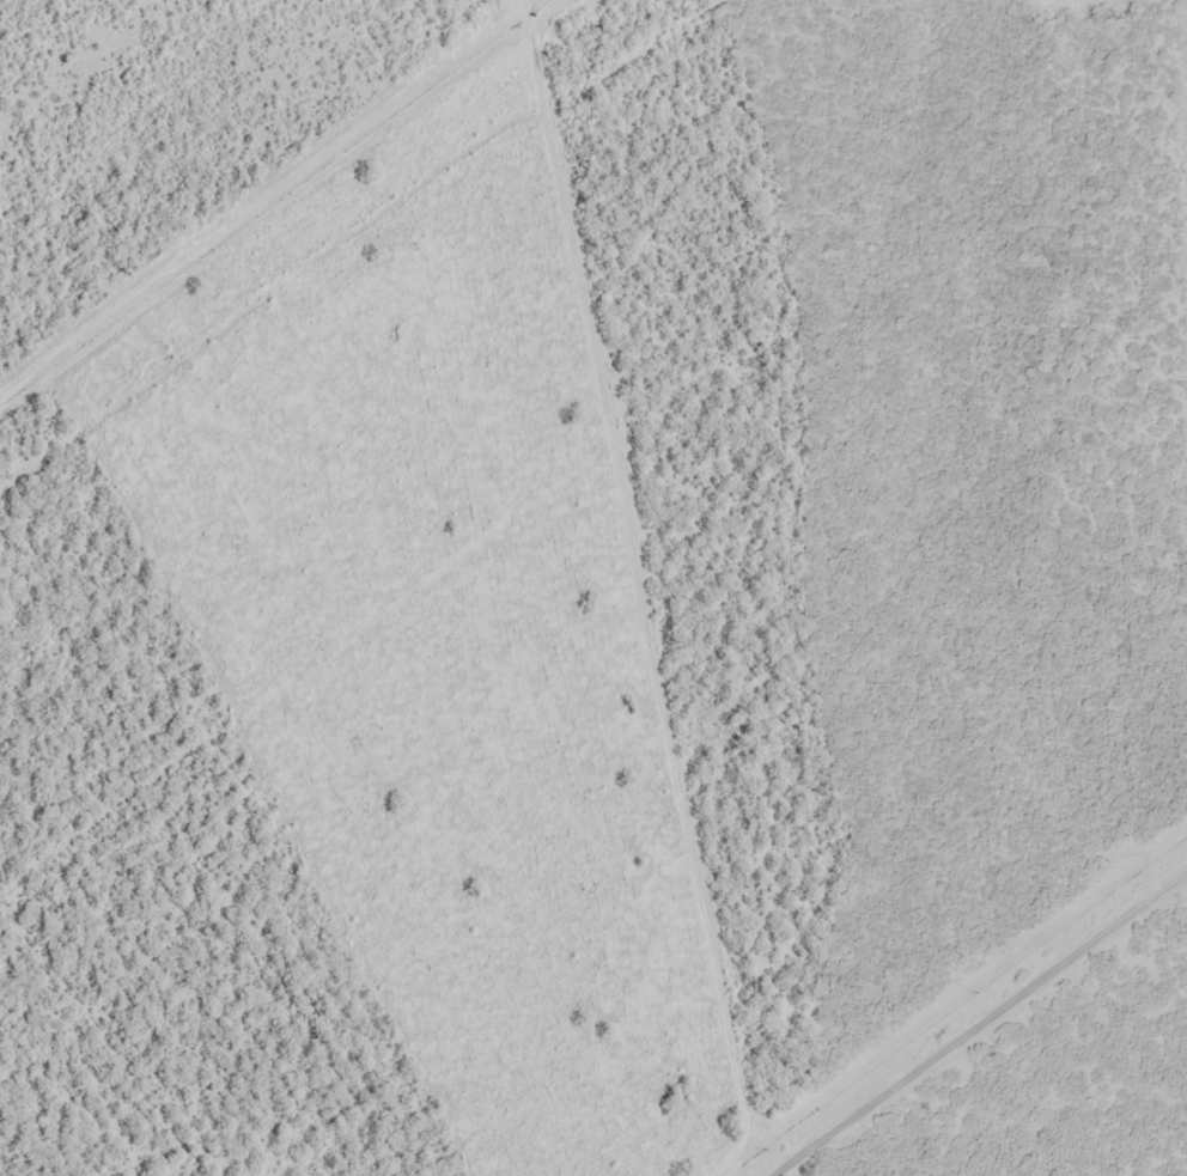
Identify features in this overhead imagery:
road: (979, 1020)

